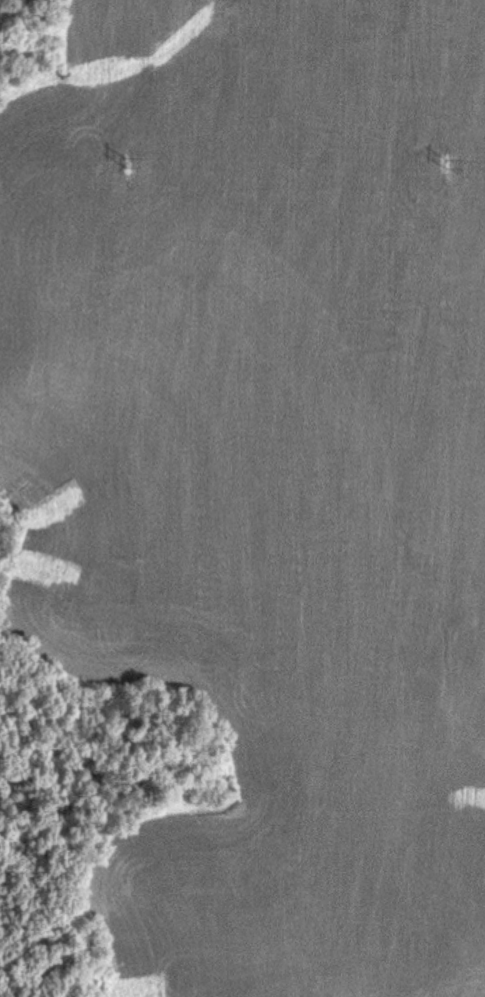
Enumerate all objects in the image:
power tower: (126, 163)
power tower: (446, 164)

